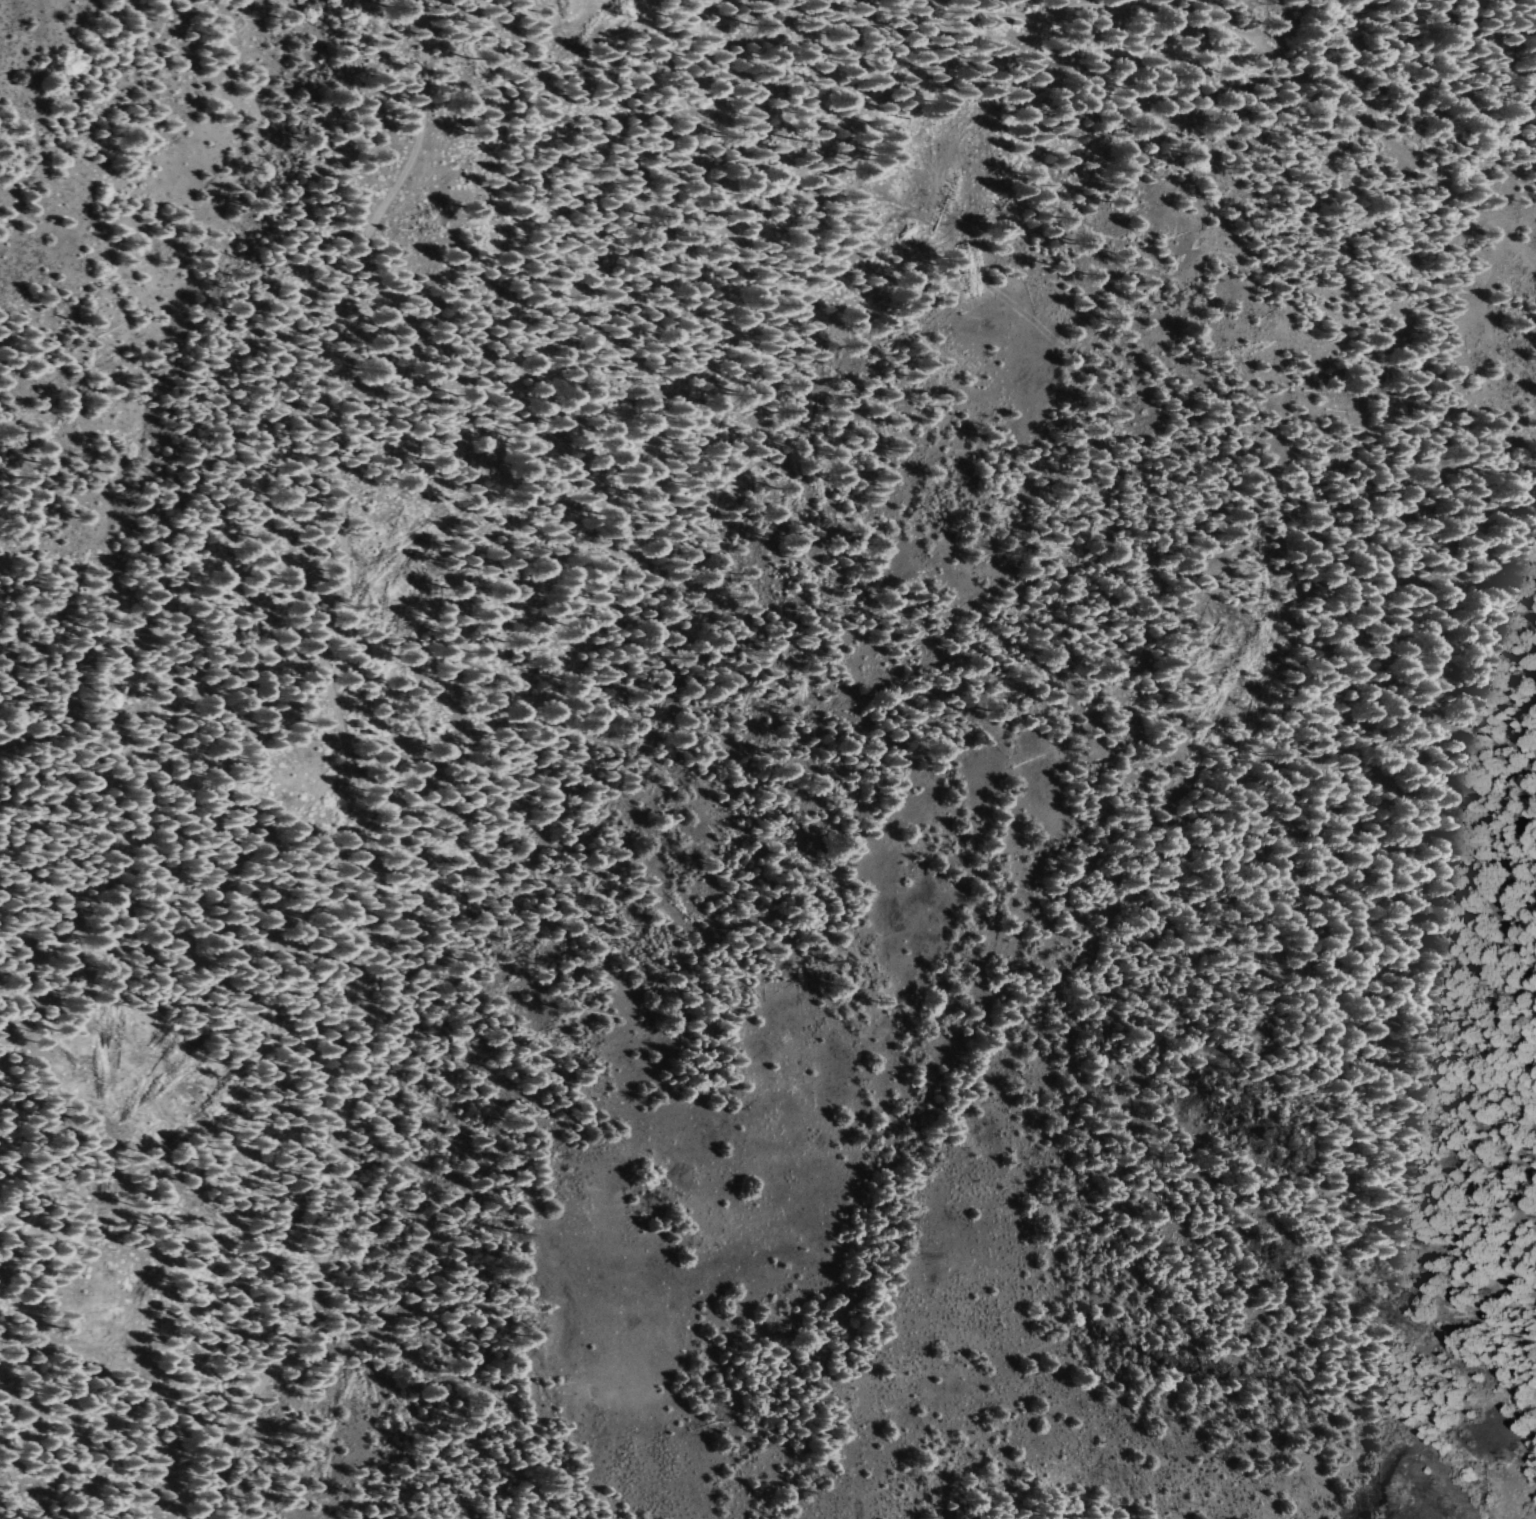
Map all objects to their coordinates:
road: (1180, 8)
road: (1462, 185)
road: (348, 762)

